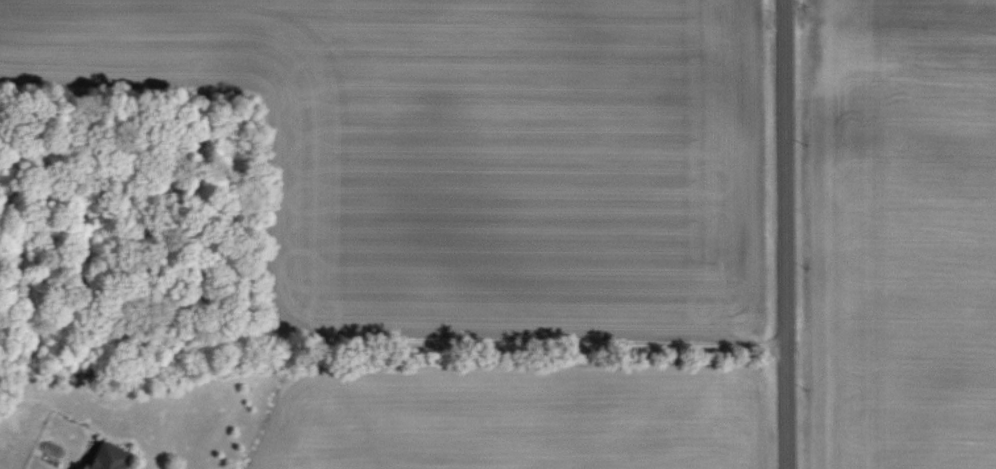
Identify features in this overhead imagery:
crop: (475, 156)
crop: (899, 233)
road: (785, 234)
road: (279, 336)
crop: (510, 407)
building: (107, 457)

